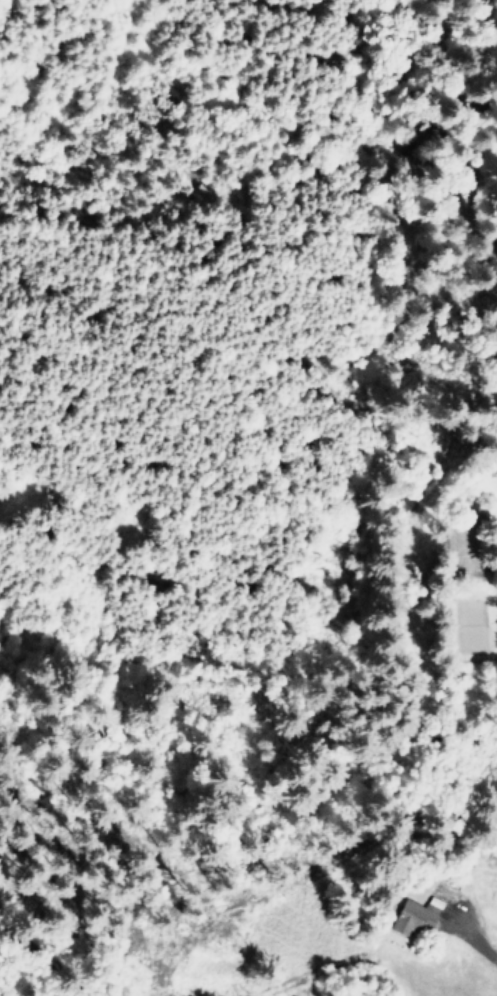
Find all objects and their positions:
road: (478, 940)

